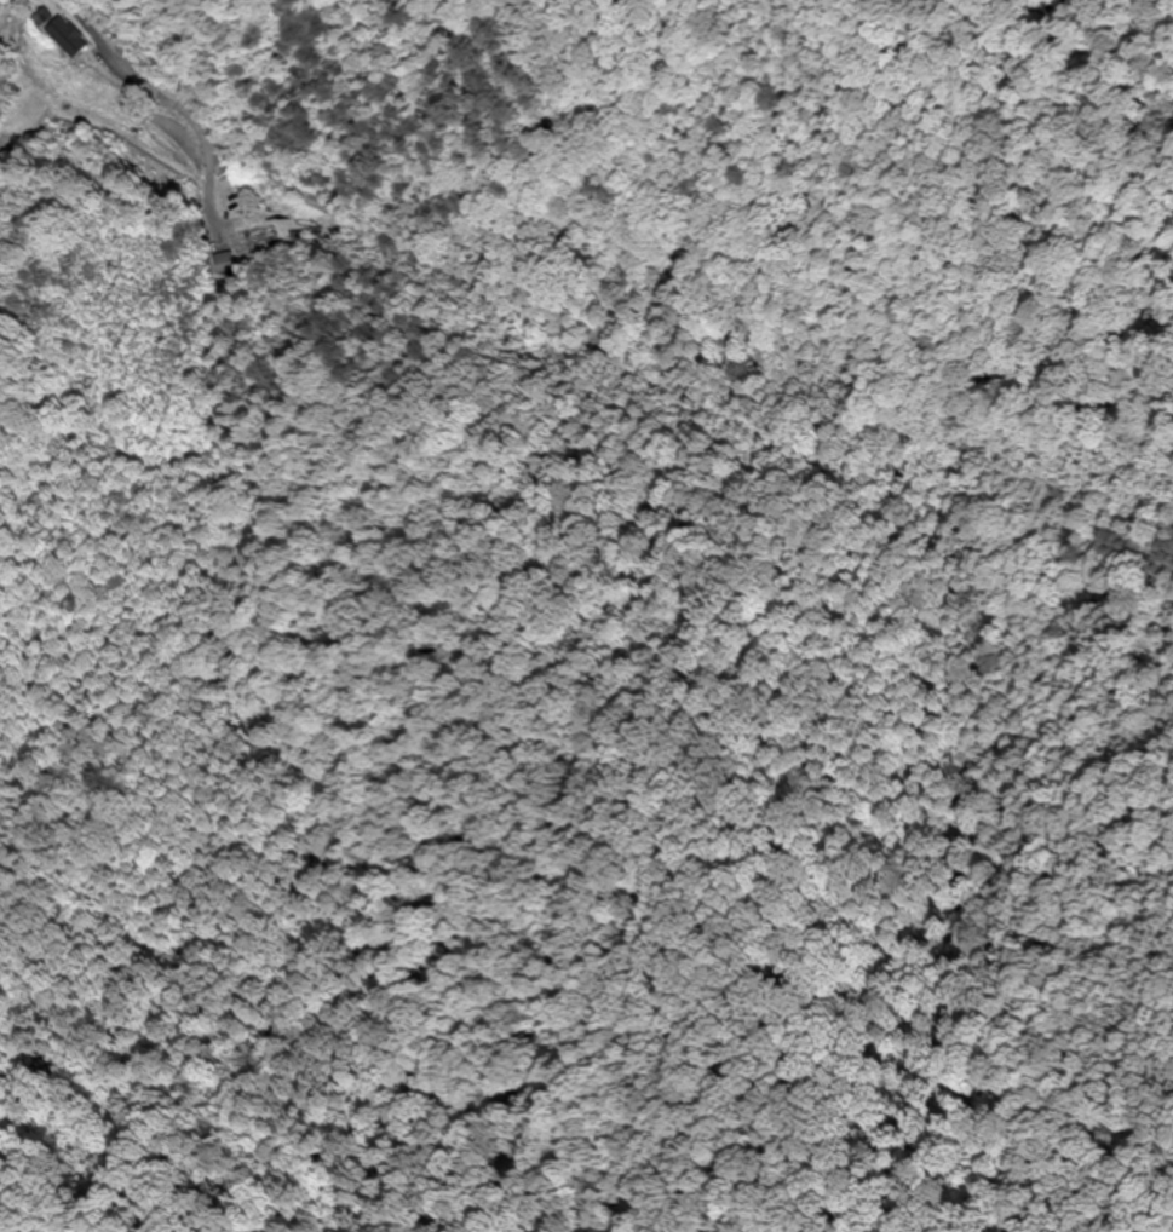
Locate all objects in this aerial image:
road: (165, 94)
building: (255, 237)
building: (223, 263)

